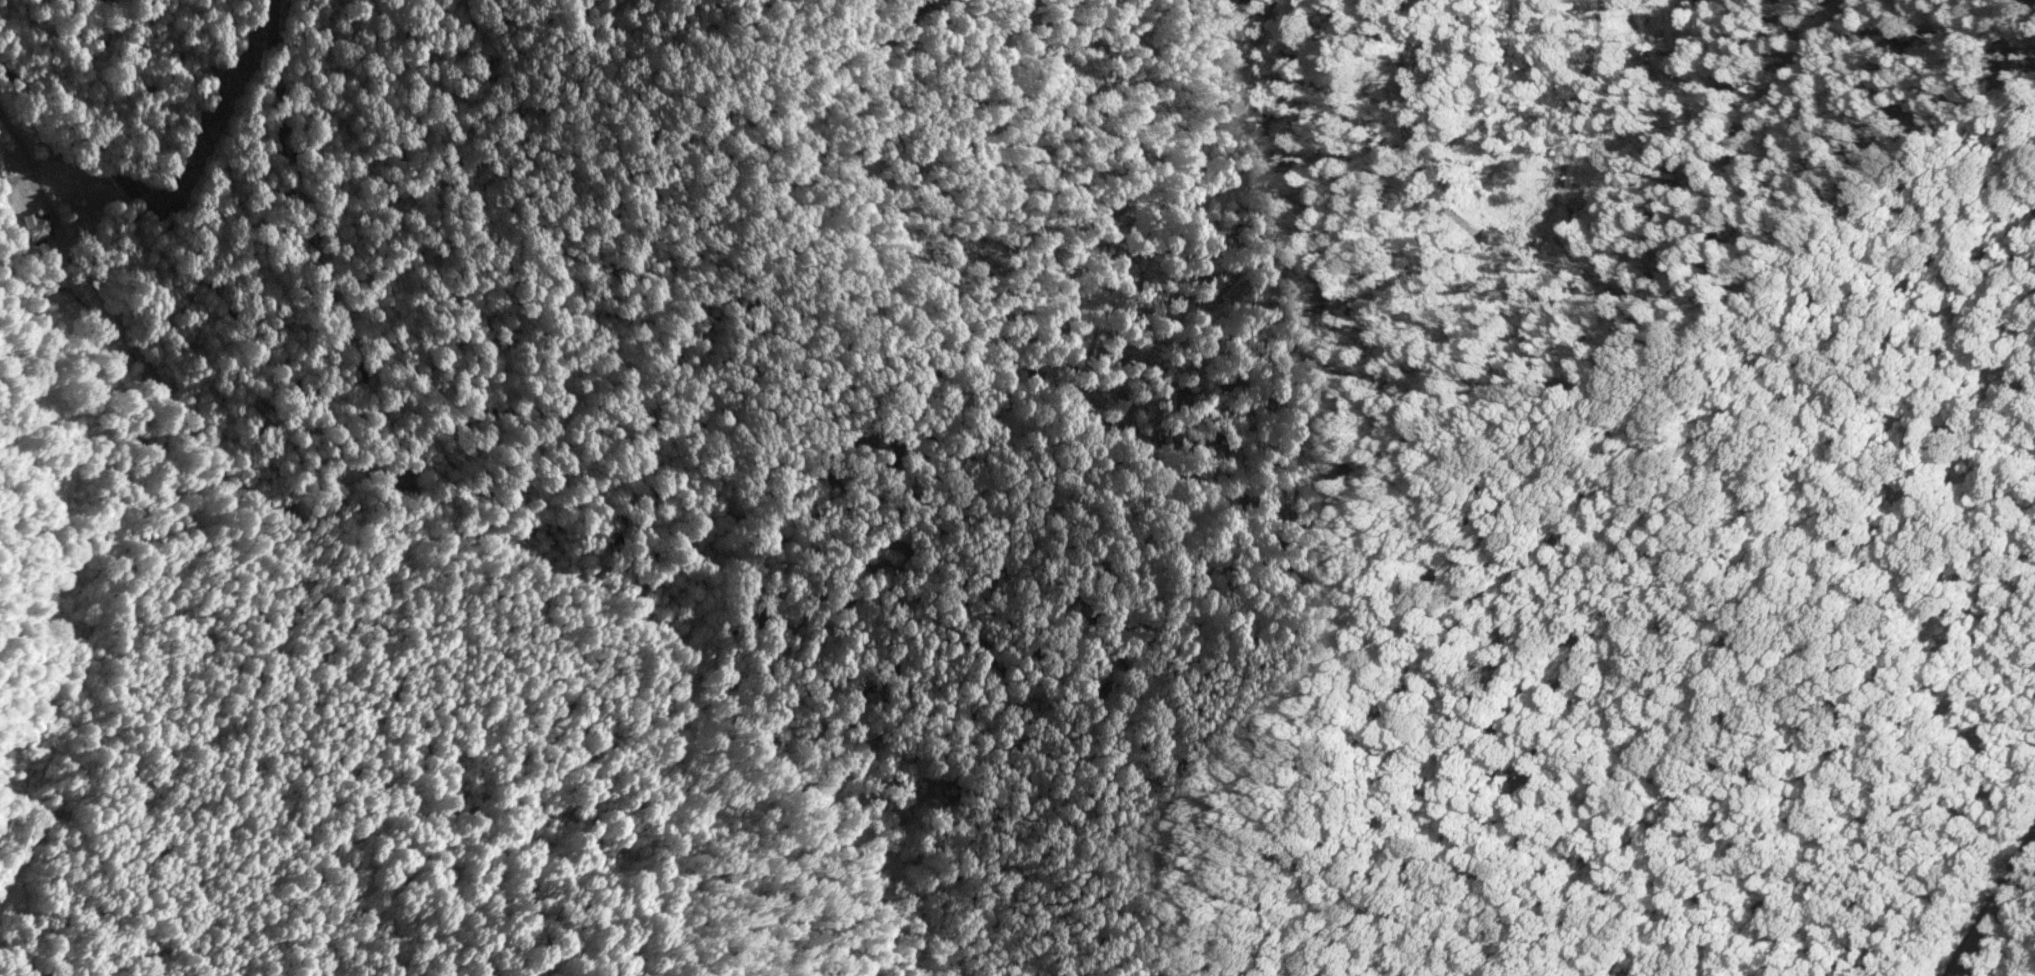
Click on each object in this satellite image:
road: (25, 202)
building: (35, 224)
road: (301, 414)
road: (1996, 915)

